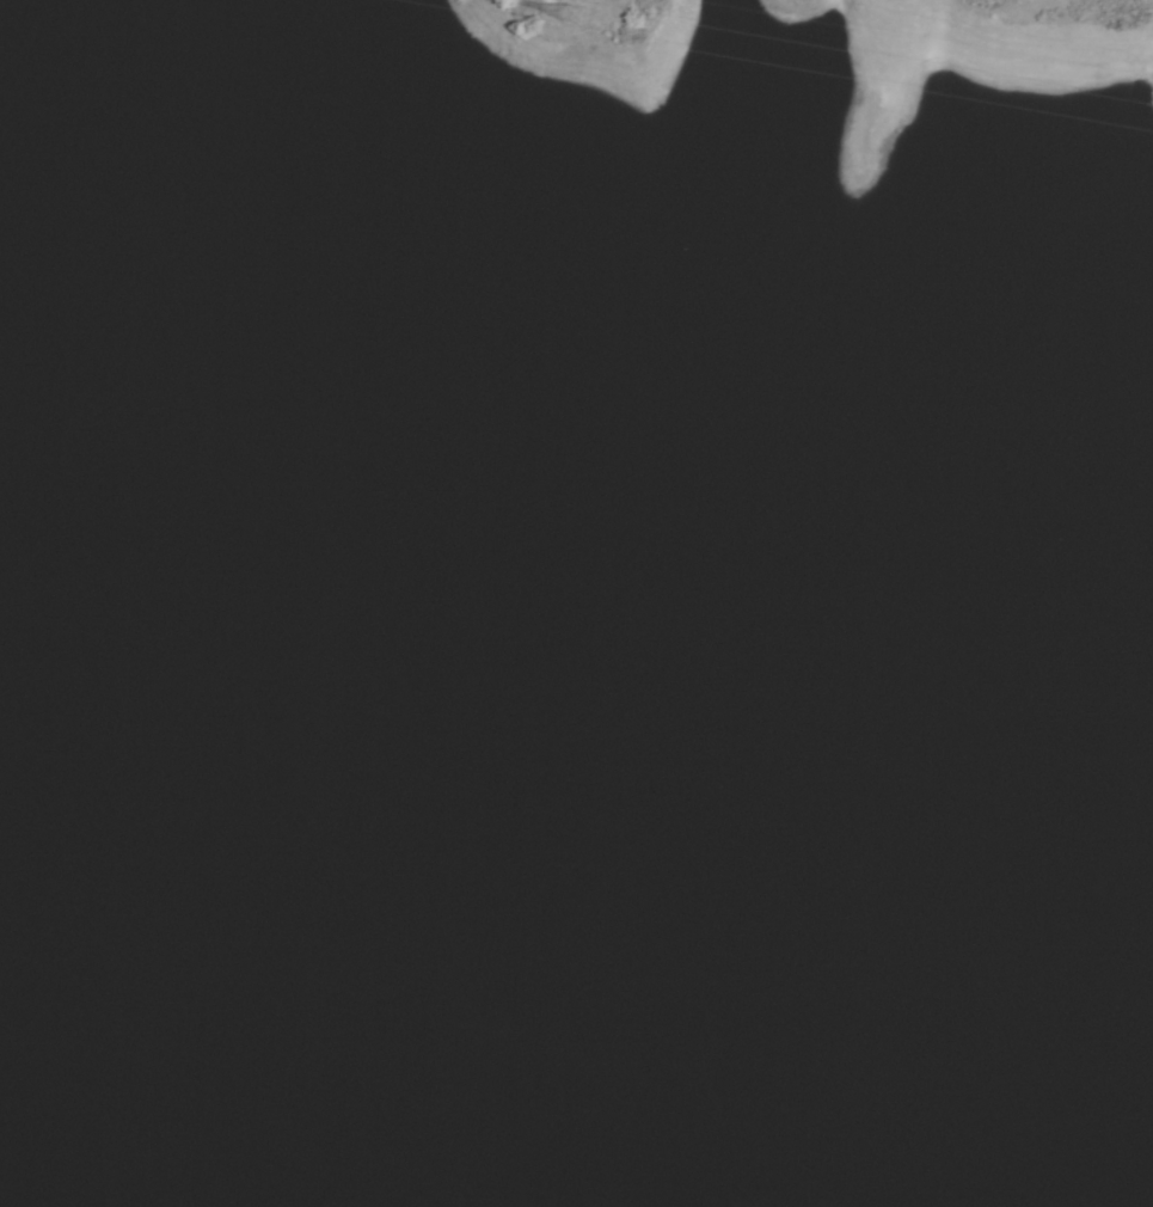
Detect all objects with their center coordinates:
power tower: (576, 16)

